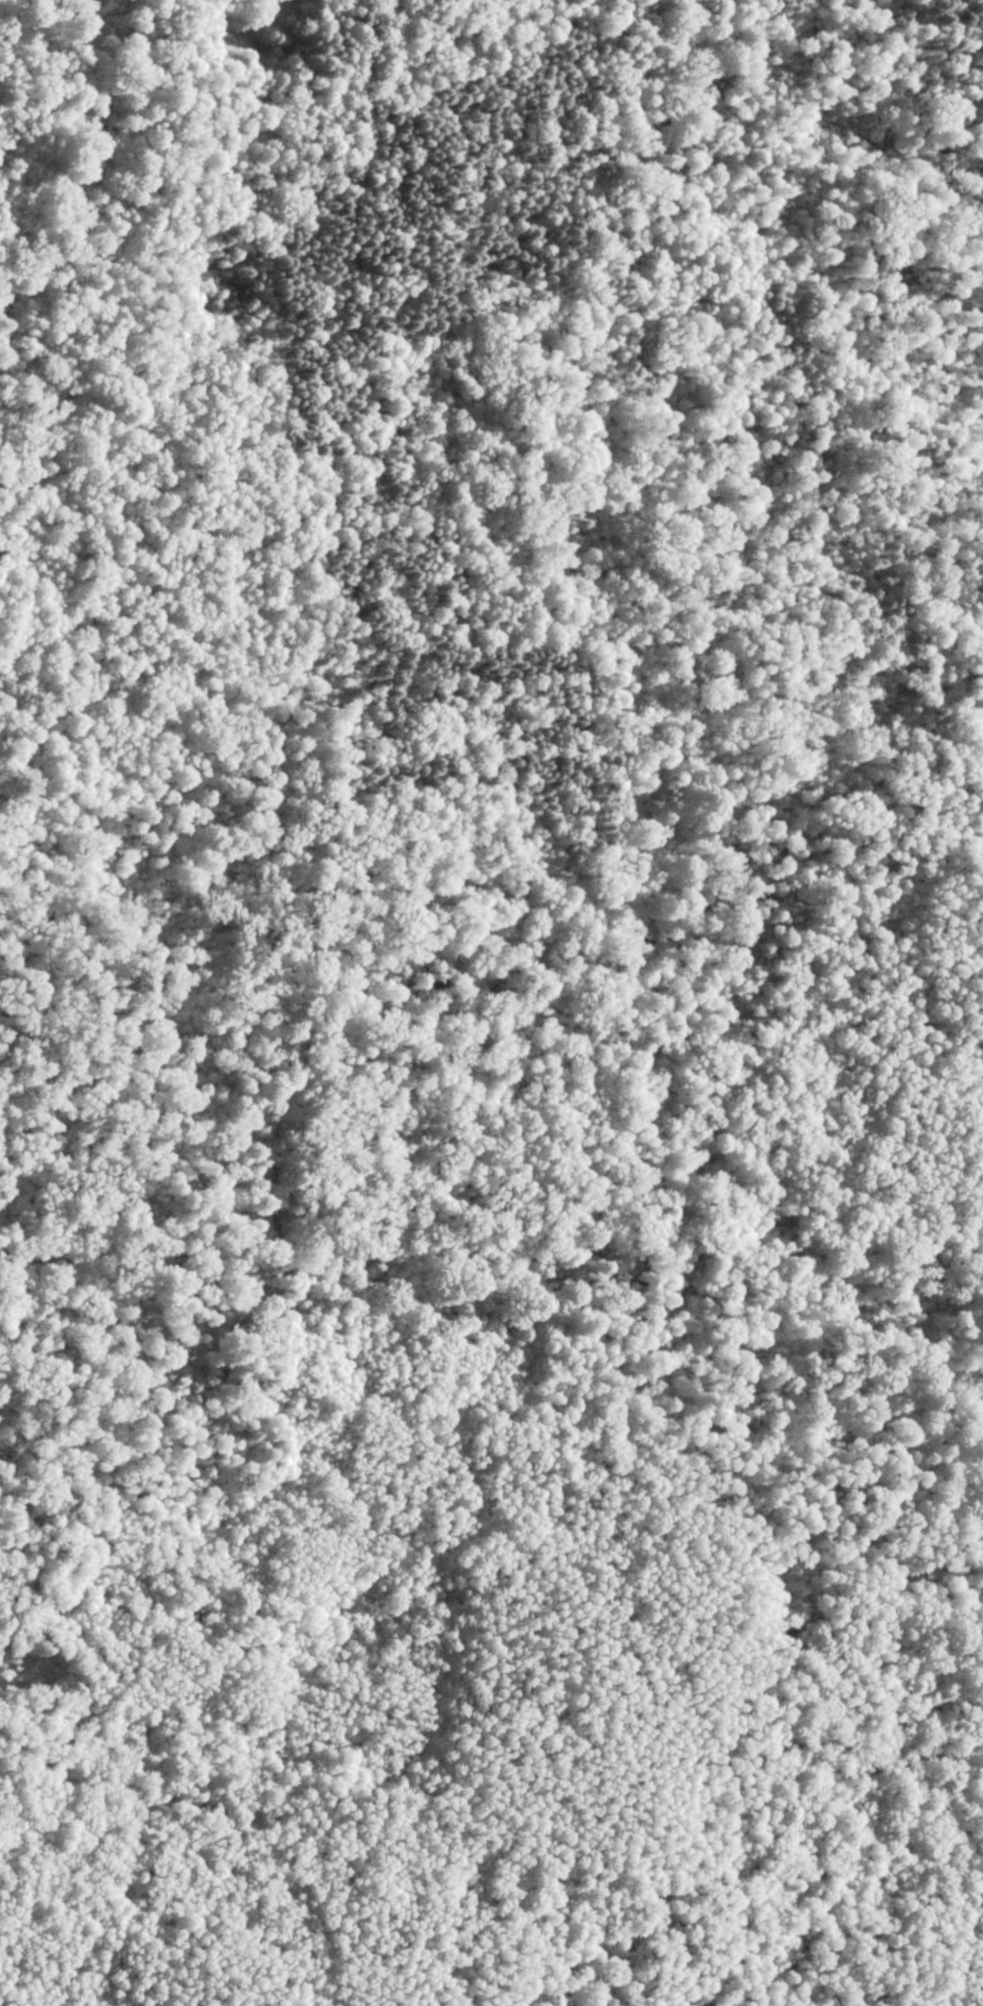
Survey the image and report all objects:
park: (540, 1032)

